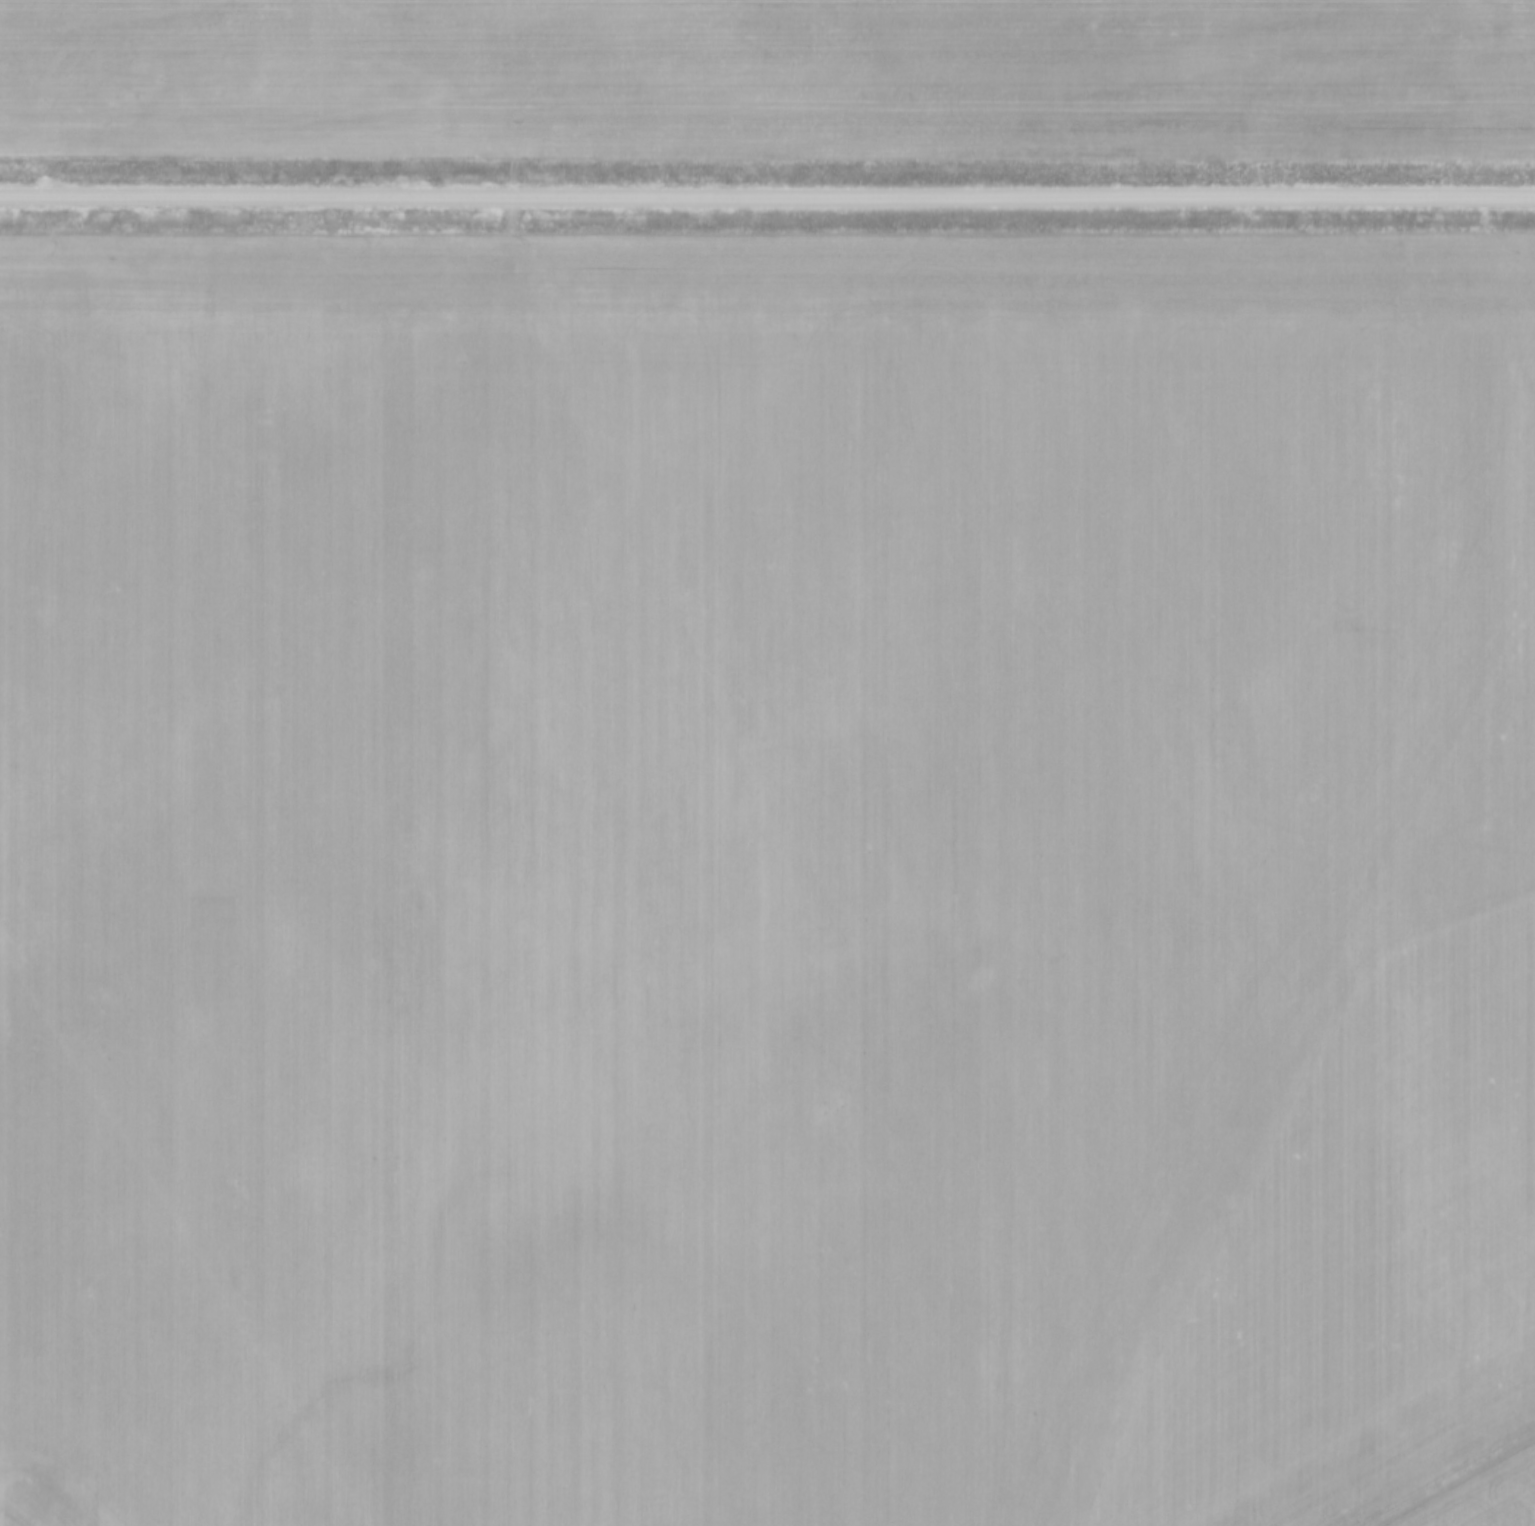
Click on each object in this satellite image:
road: (767, 188)
crop: (762, 869)
airport: (1465, 1485)

